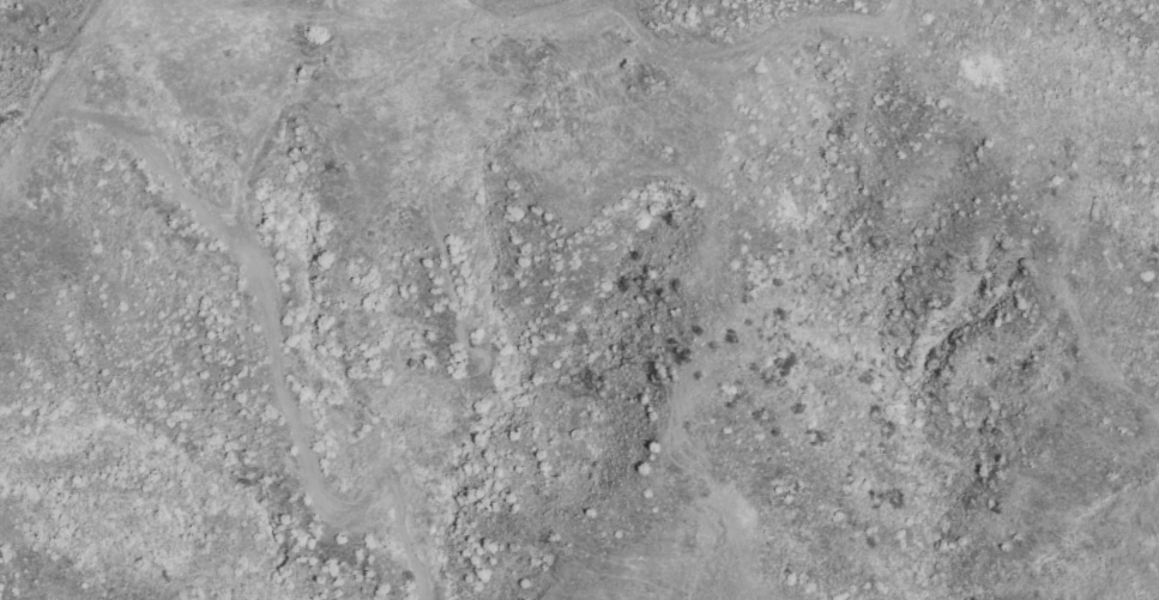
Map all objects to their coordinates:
road: (262, 303)

